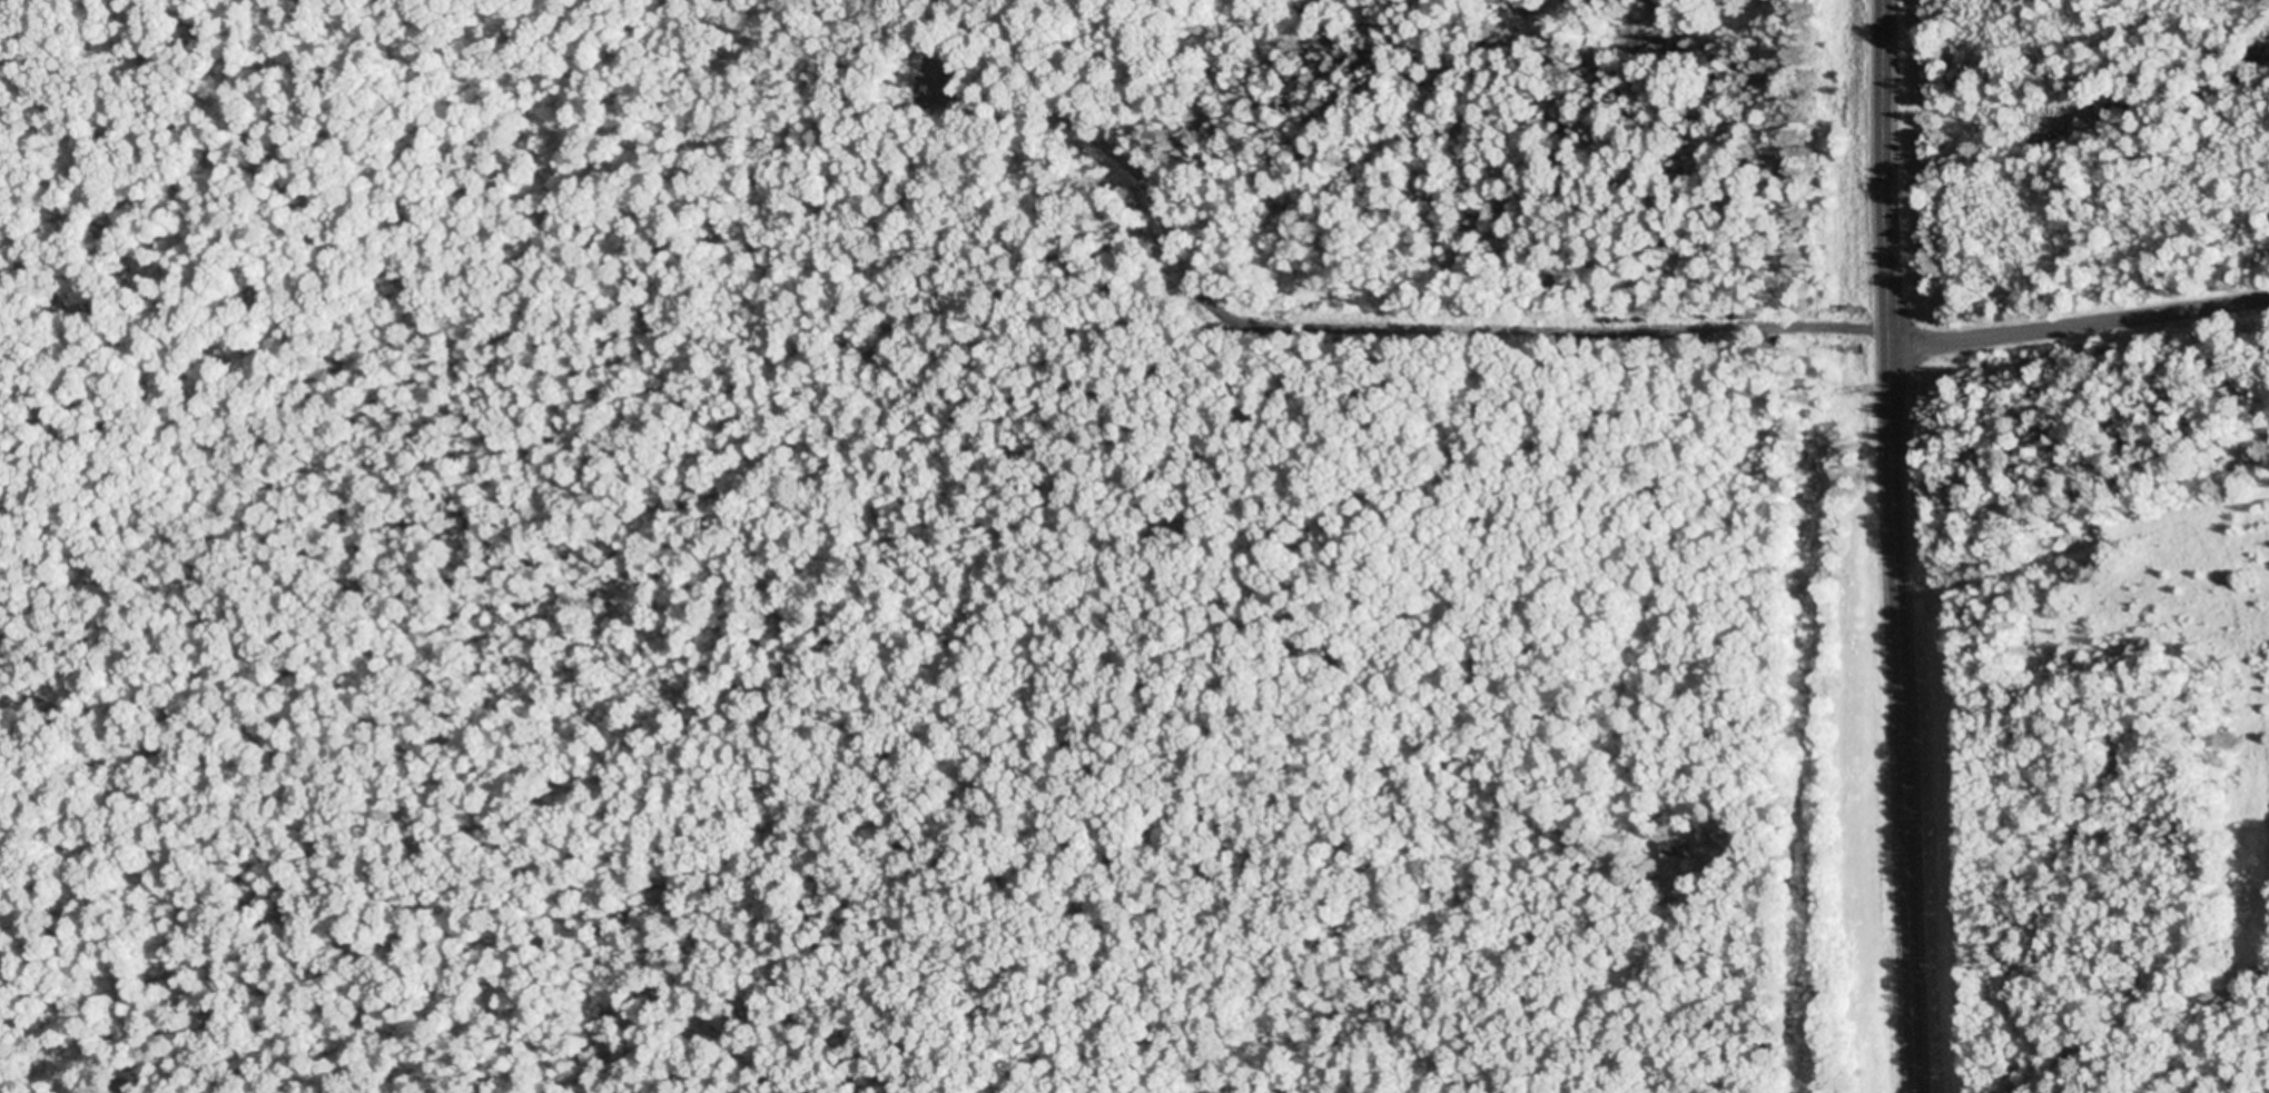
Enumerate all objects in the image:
road: (2083, 317)
road: (1905, 546)

